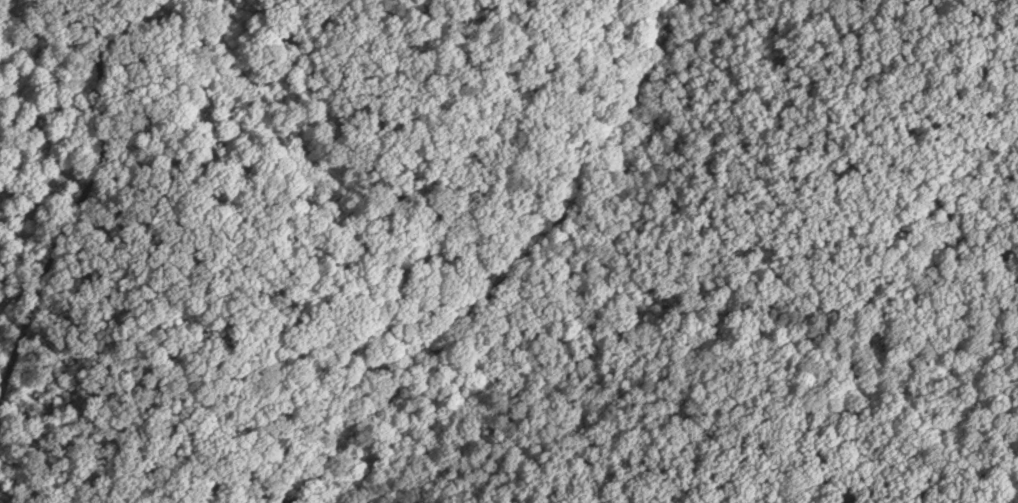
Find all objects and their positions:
road: (78, 207)
road: (514, 271)

